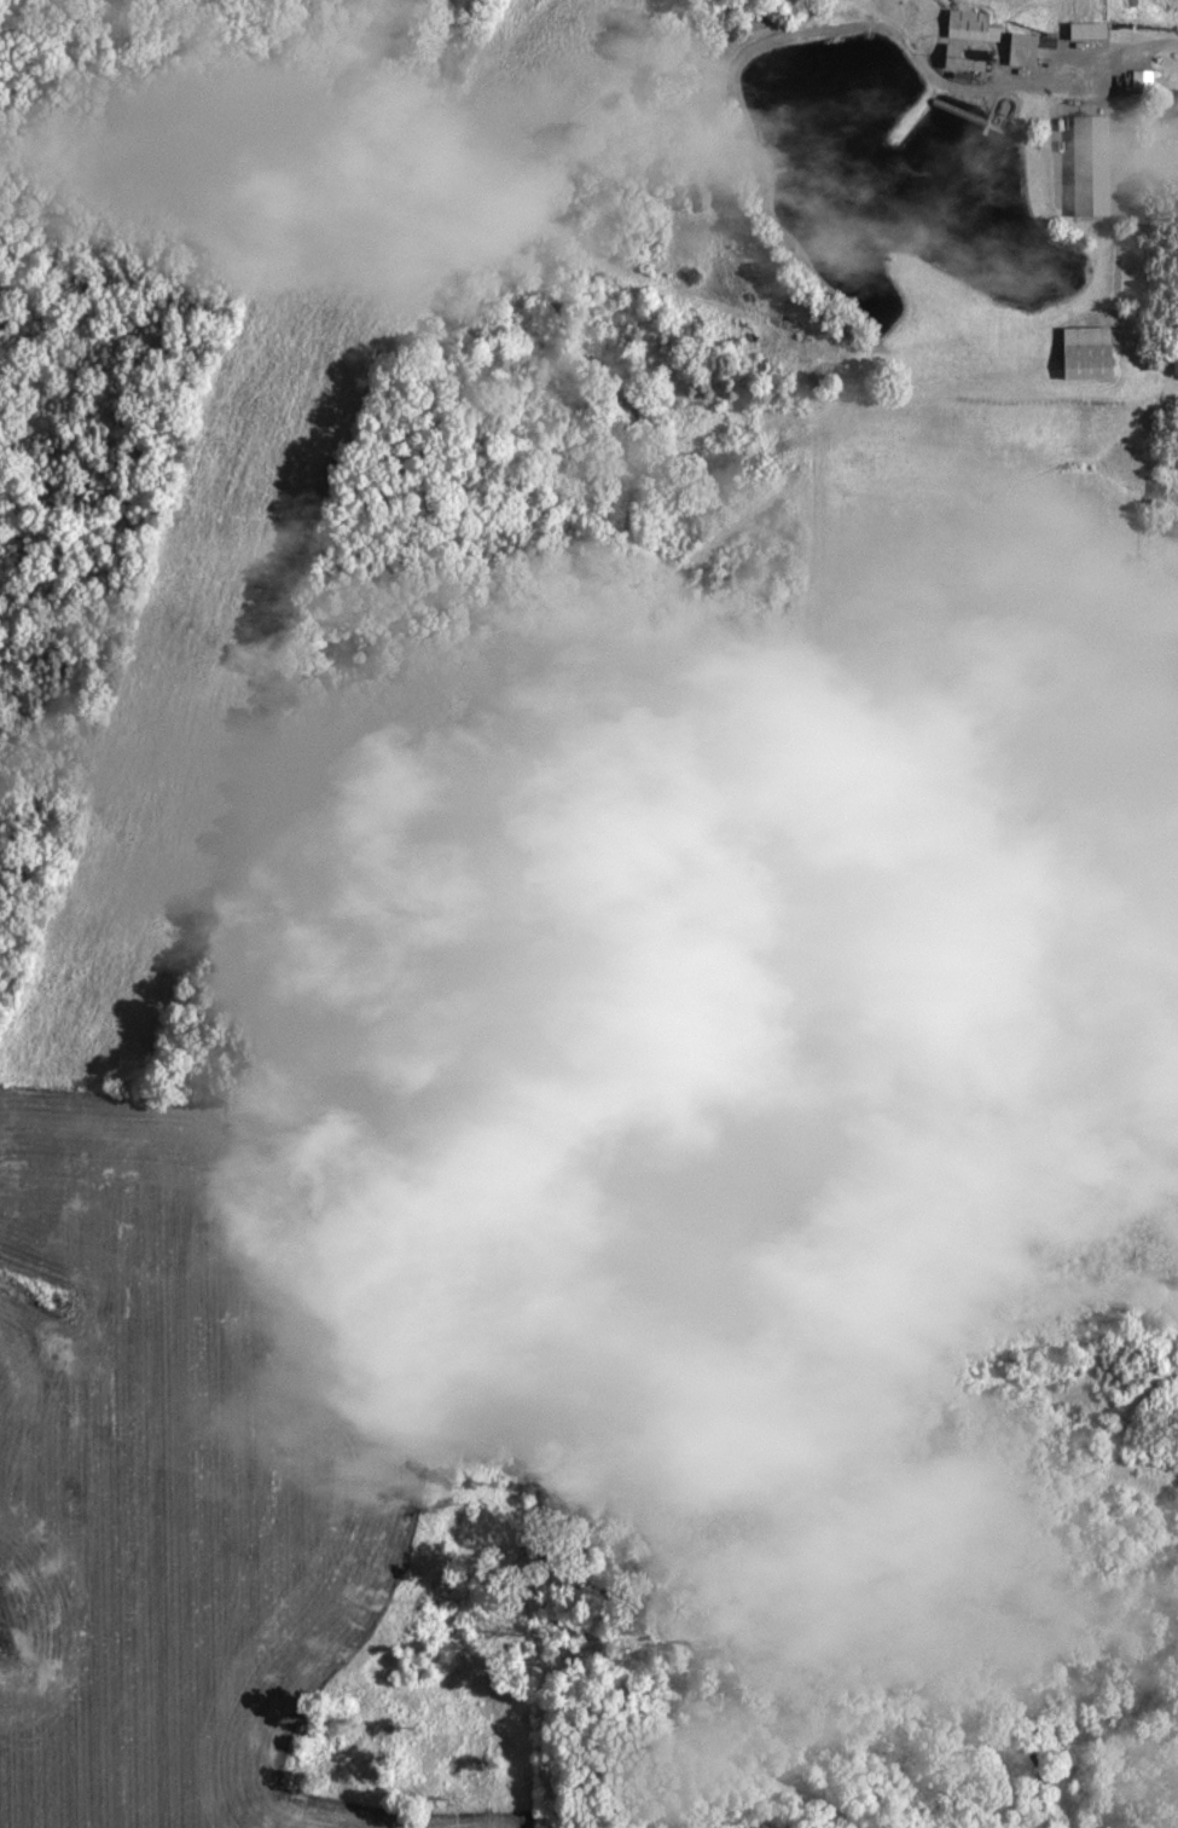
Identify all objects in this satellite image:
building: (962, 31)
building: (1078, 36)
road: (1122, 50)
building: (1012, 54)
building: (958, 63)
building: (1167, 120)
building: (1081, 170)

